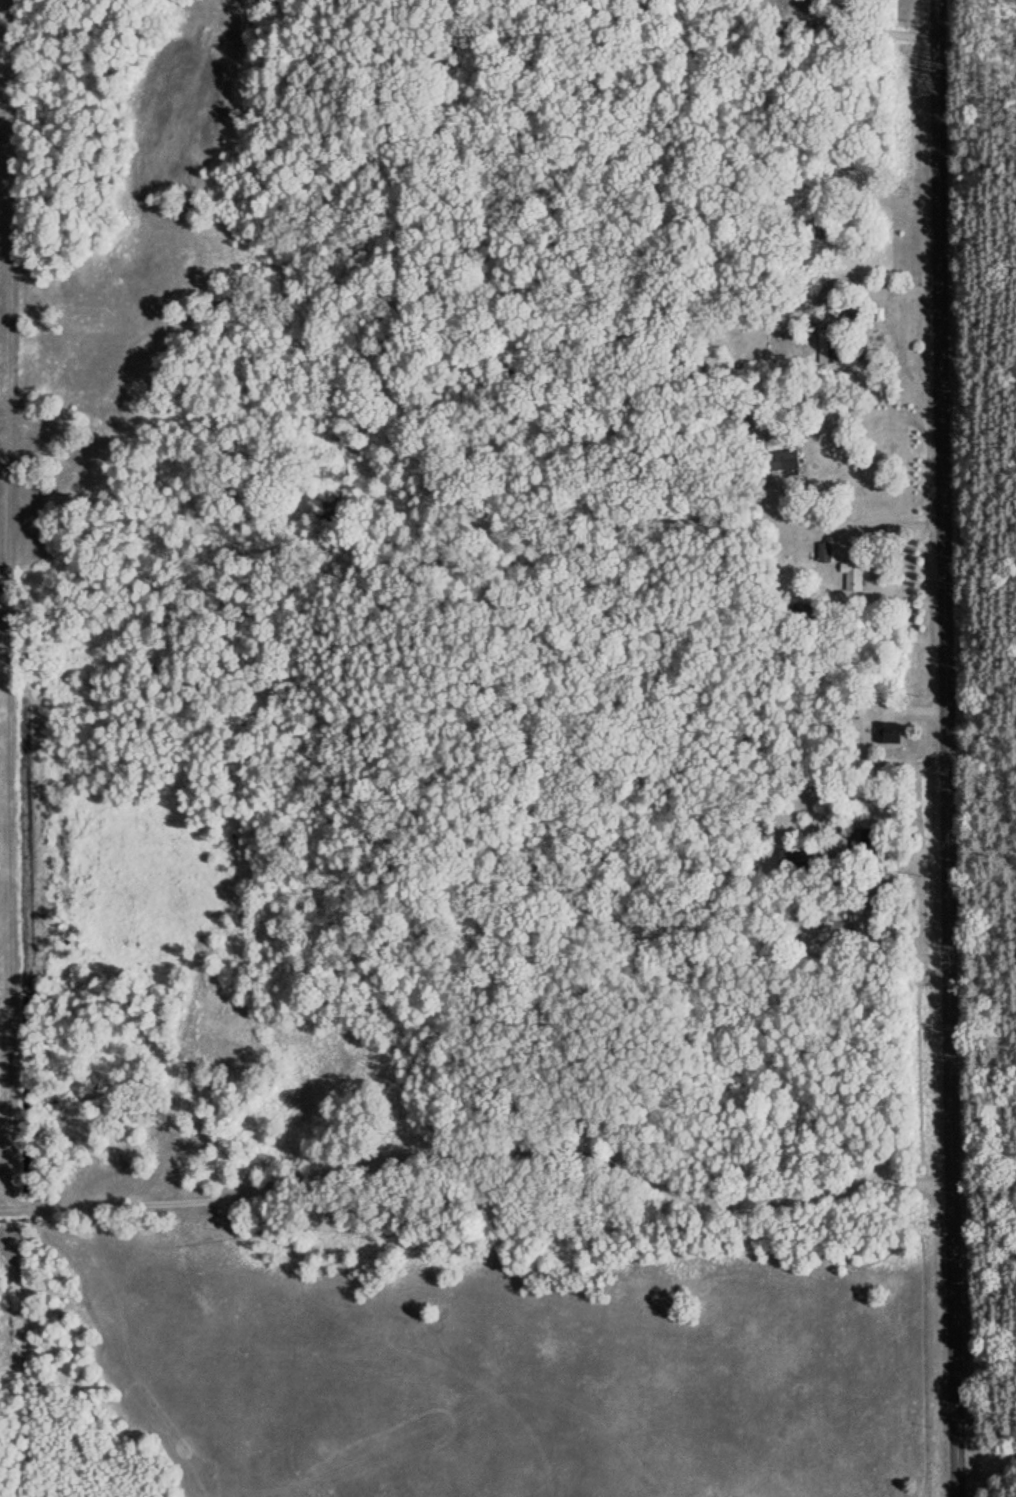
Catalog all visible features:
building: (828, 552)
building: (857, 572)
building: (893, 731)
road: (945, 748)
building: (840, 928)
road: (985, 1453)

